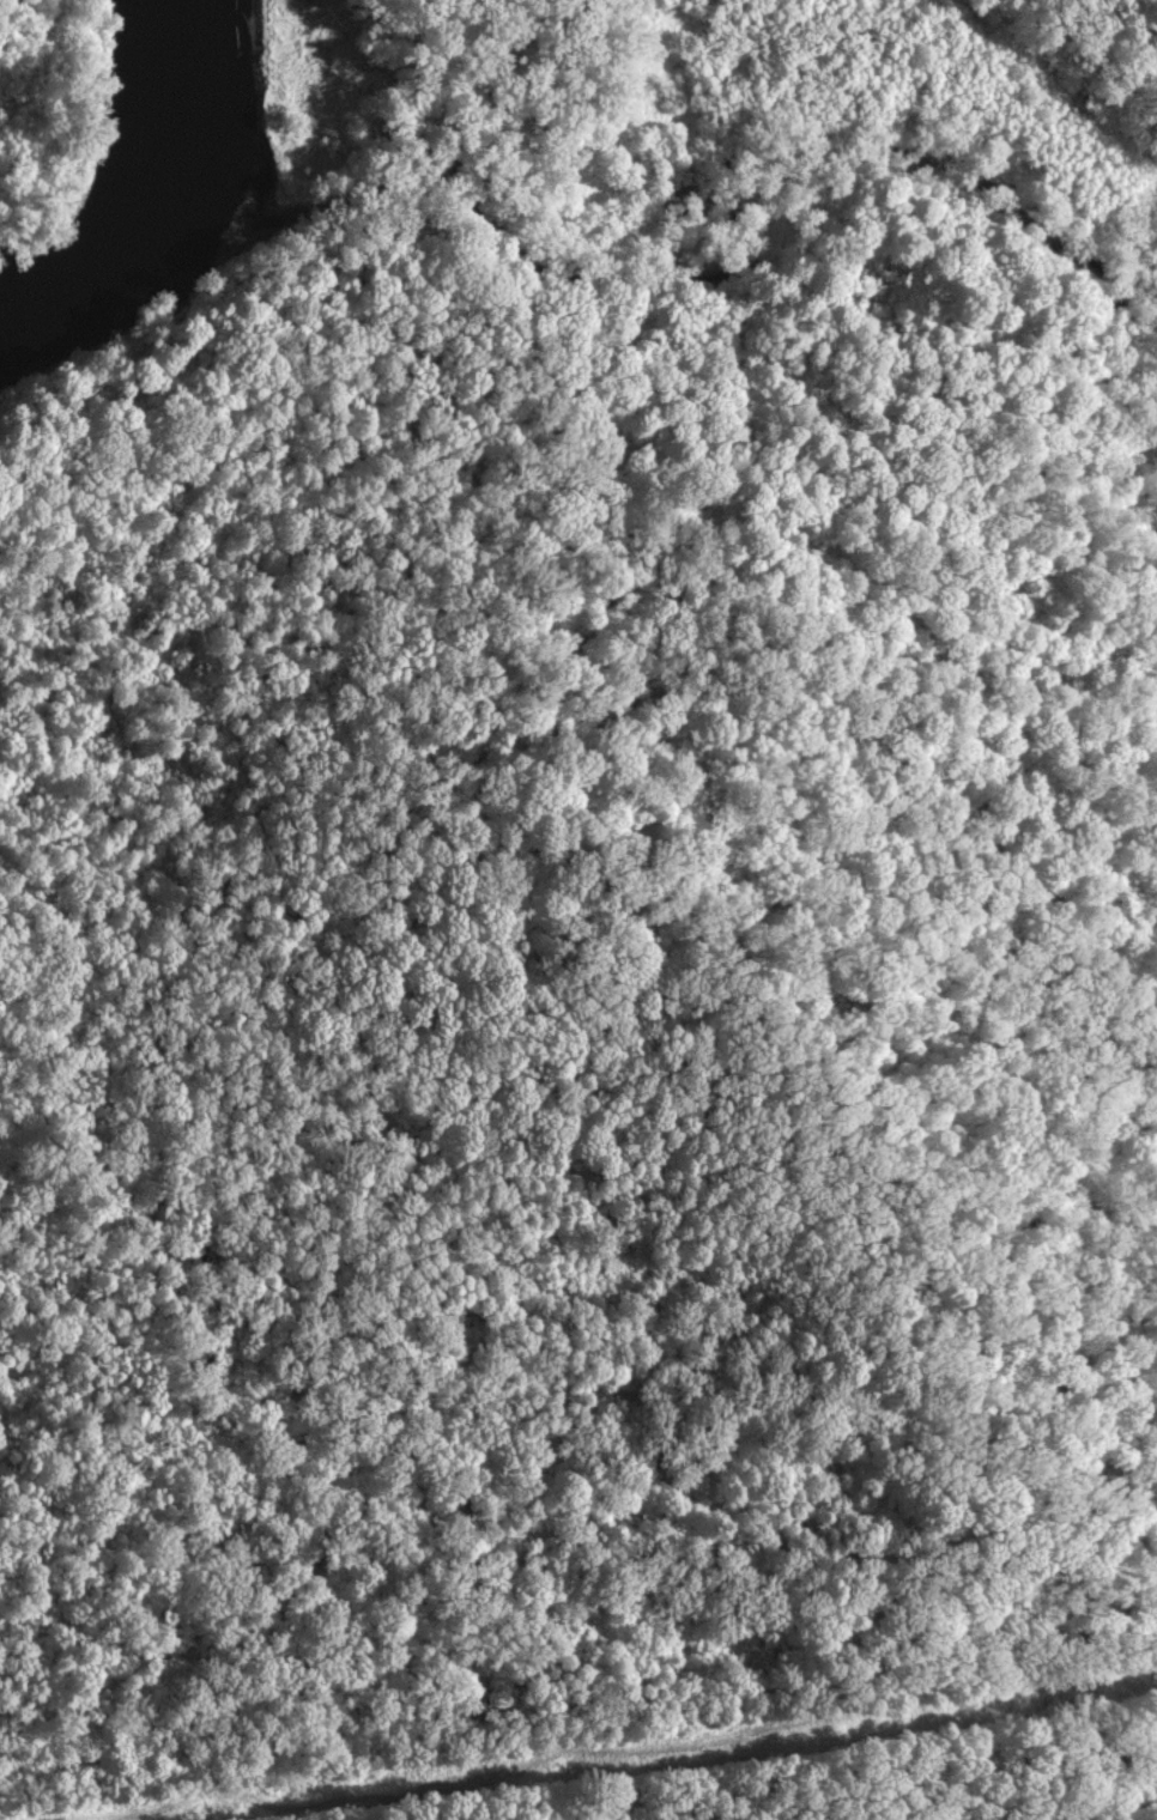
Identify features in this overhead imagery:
river: (182, 206)

